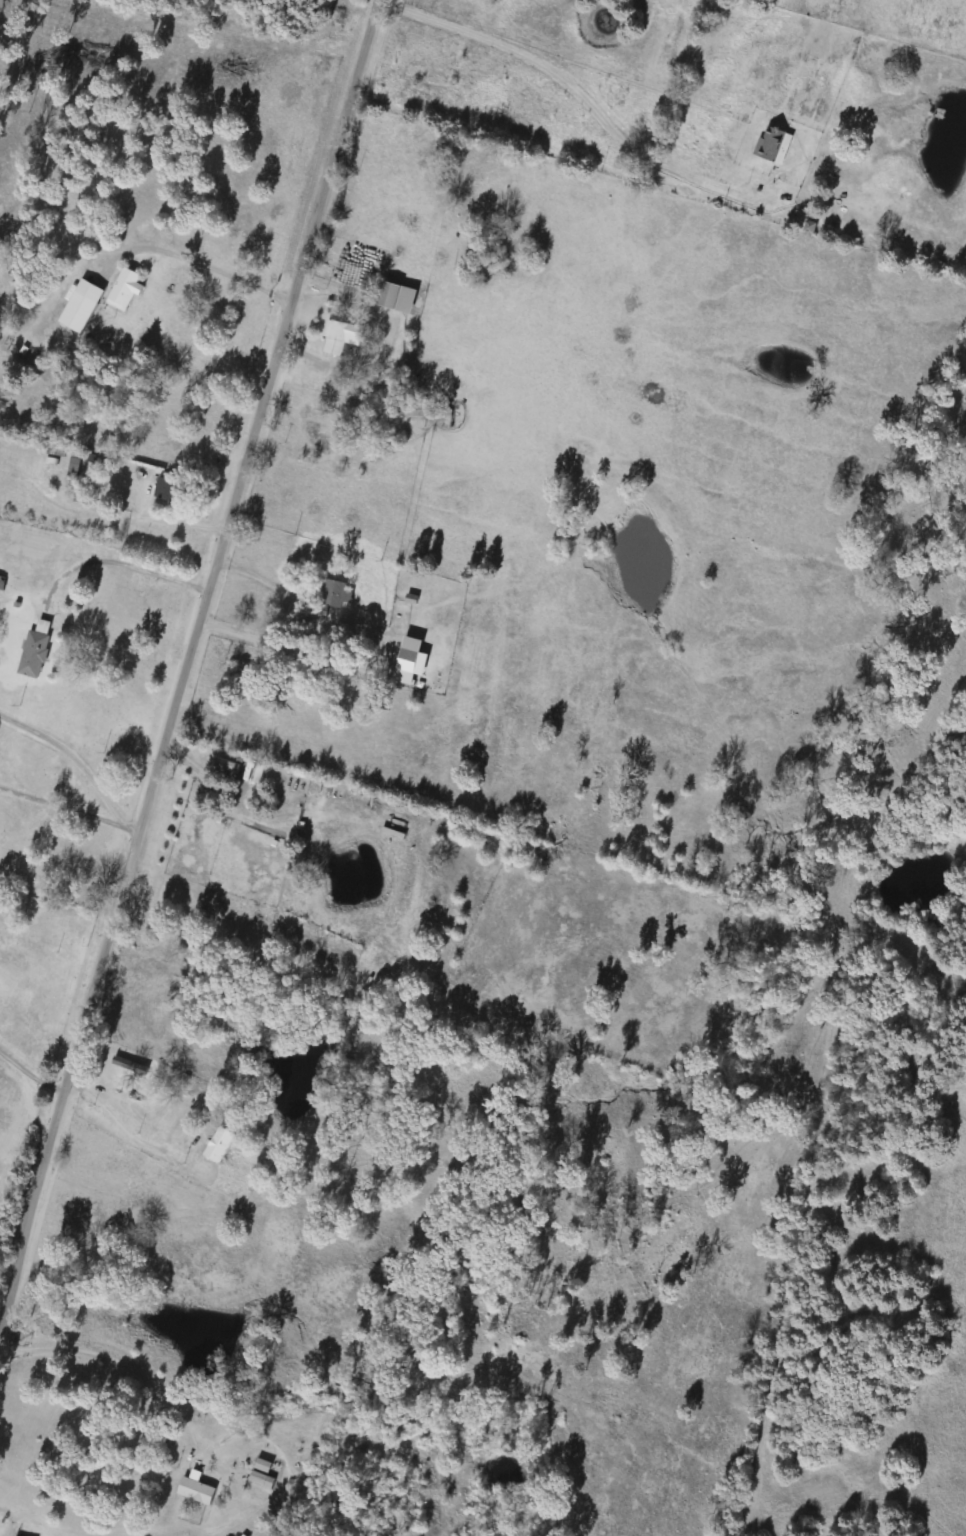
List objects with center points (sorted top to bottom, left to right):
road: (555, 80)
building: (774, 143)
road: (762, 188)
road: (204, 262)
building: (126, 286)
building: (392, 295)
building: (83, 305)
building: (342, 337)
road: (384, 347)
building: (74, 465)
building: (169, 489)
road: (123, 563)
road: (260, 574)
building: (335, 594)
road: (273, 640)
building: (36, 651)
road: (188, 652)
road: (73, 754)
building: (229, 765)
road: (68, 807)
road: (30, 1070)
road: (123, 1123)
building: (220, 1144)
building: (133, 1201)
road: (113, 1361)
building: (263, 1471)
building: (198, 1489)

